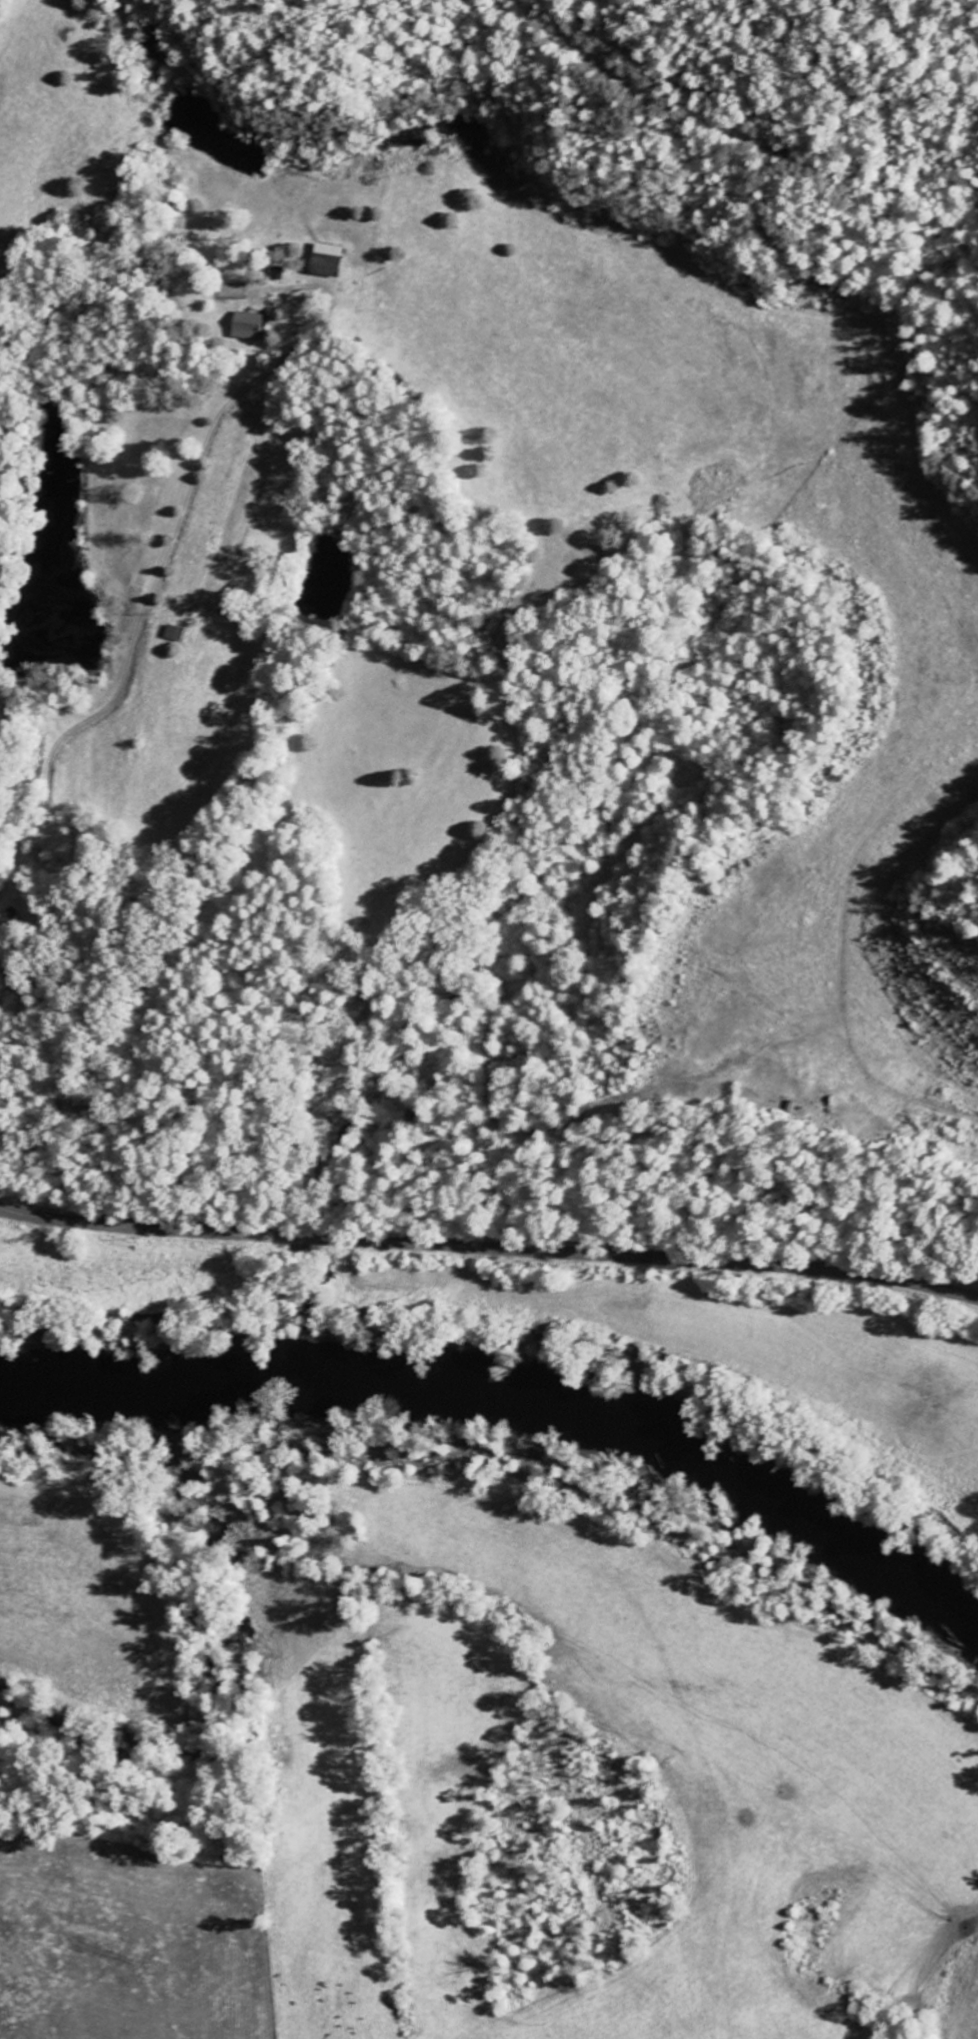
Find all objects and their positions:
building: (258, 326)
road: (29, 792)
road: (489, 1250)
river: (528, 1352)

